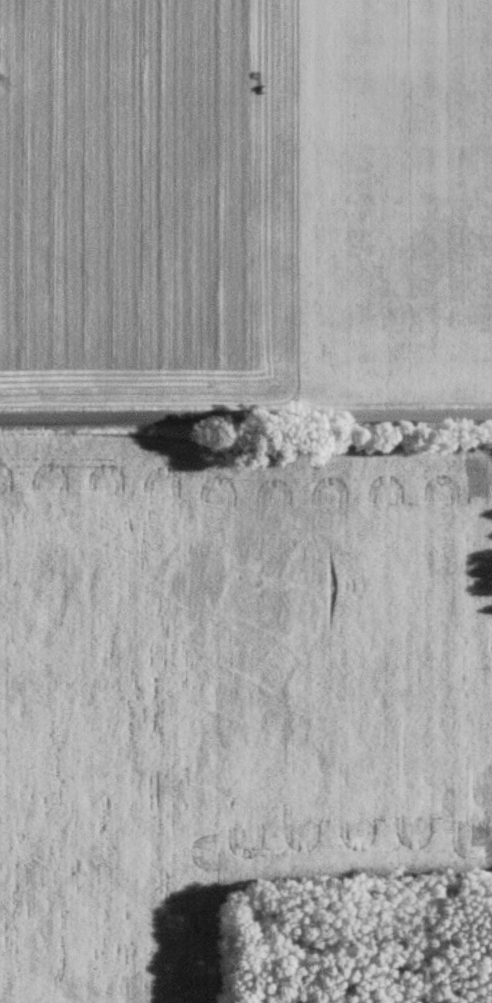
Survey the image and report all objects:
road: (246, 419)

